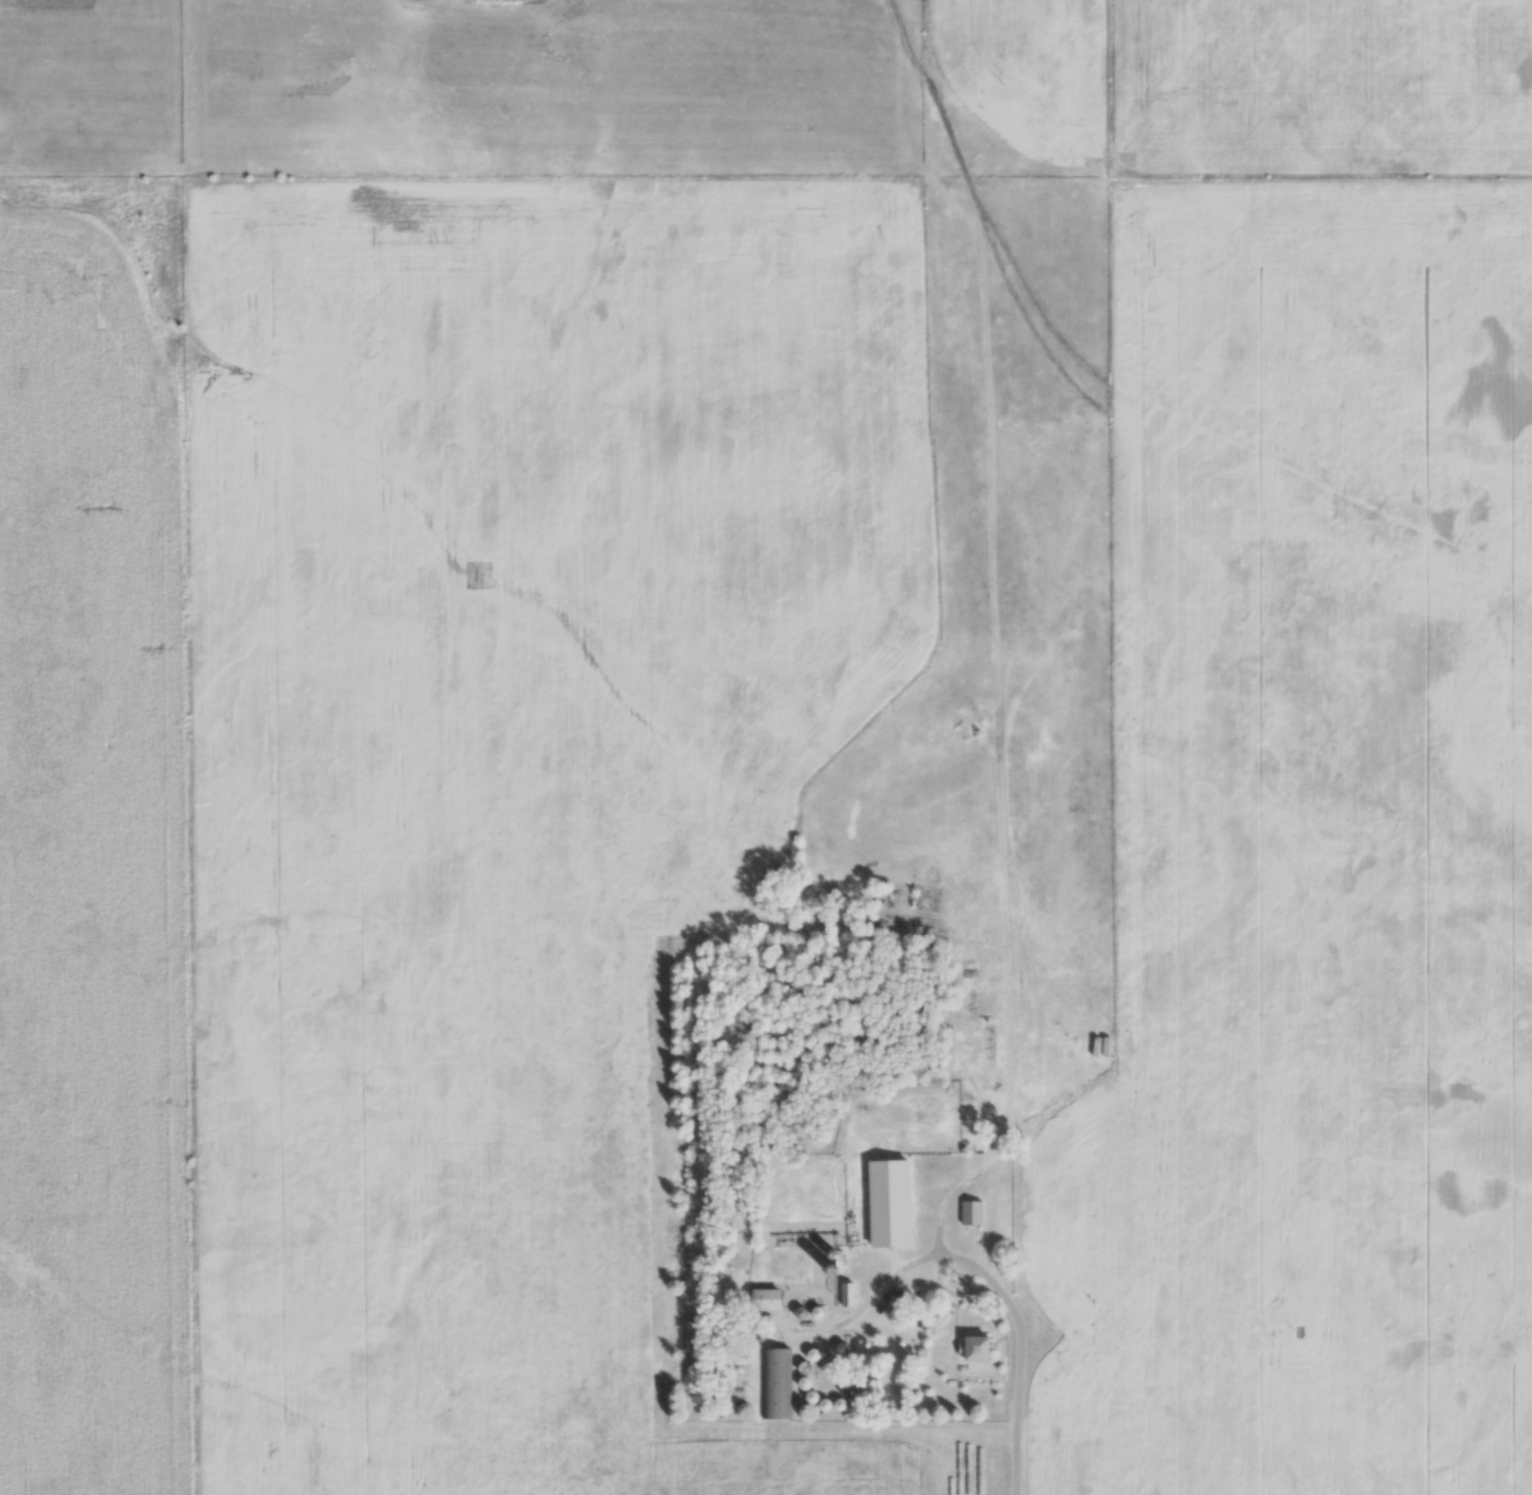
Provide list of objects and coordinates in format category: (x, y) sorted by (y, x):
building: (890, 1203)
building: (972, 1213)
building: (767, 1299)
building: (978, 1349)
building: (776, 1384)
road: (1015, 1416)

